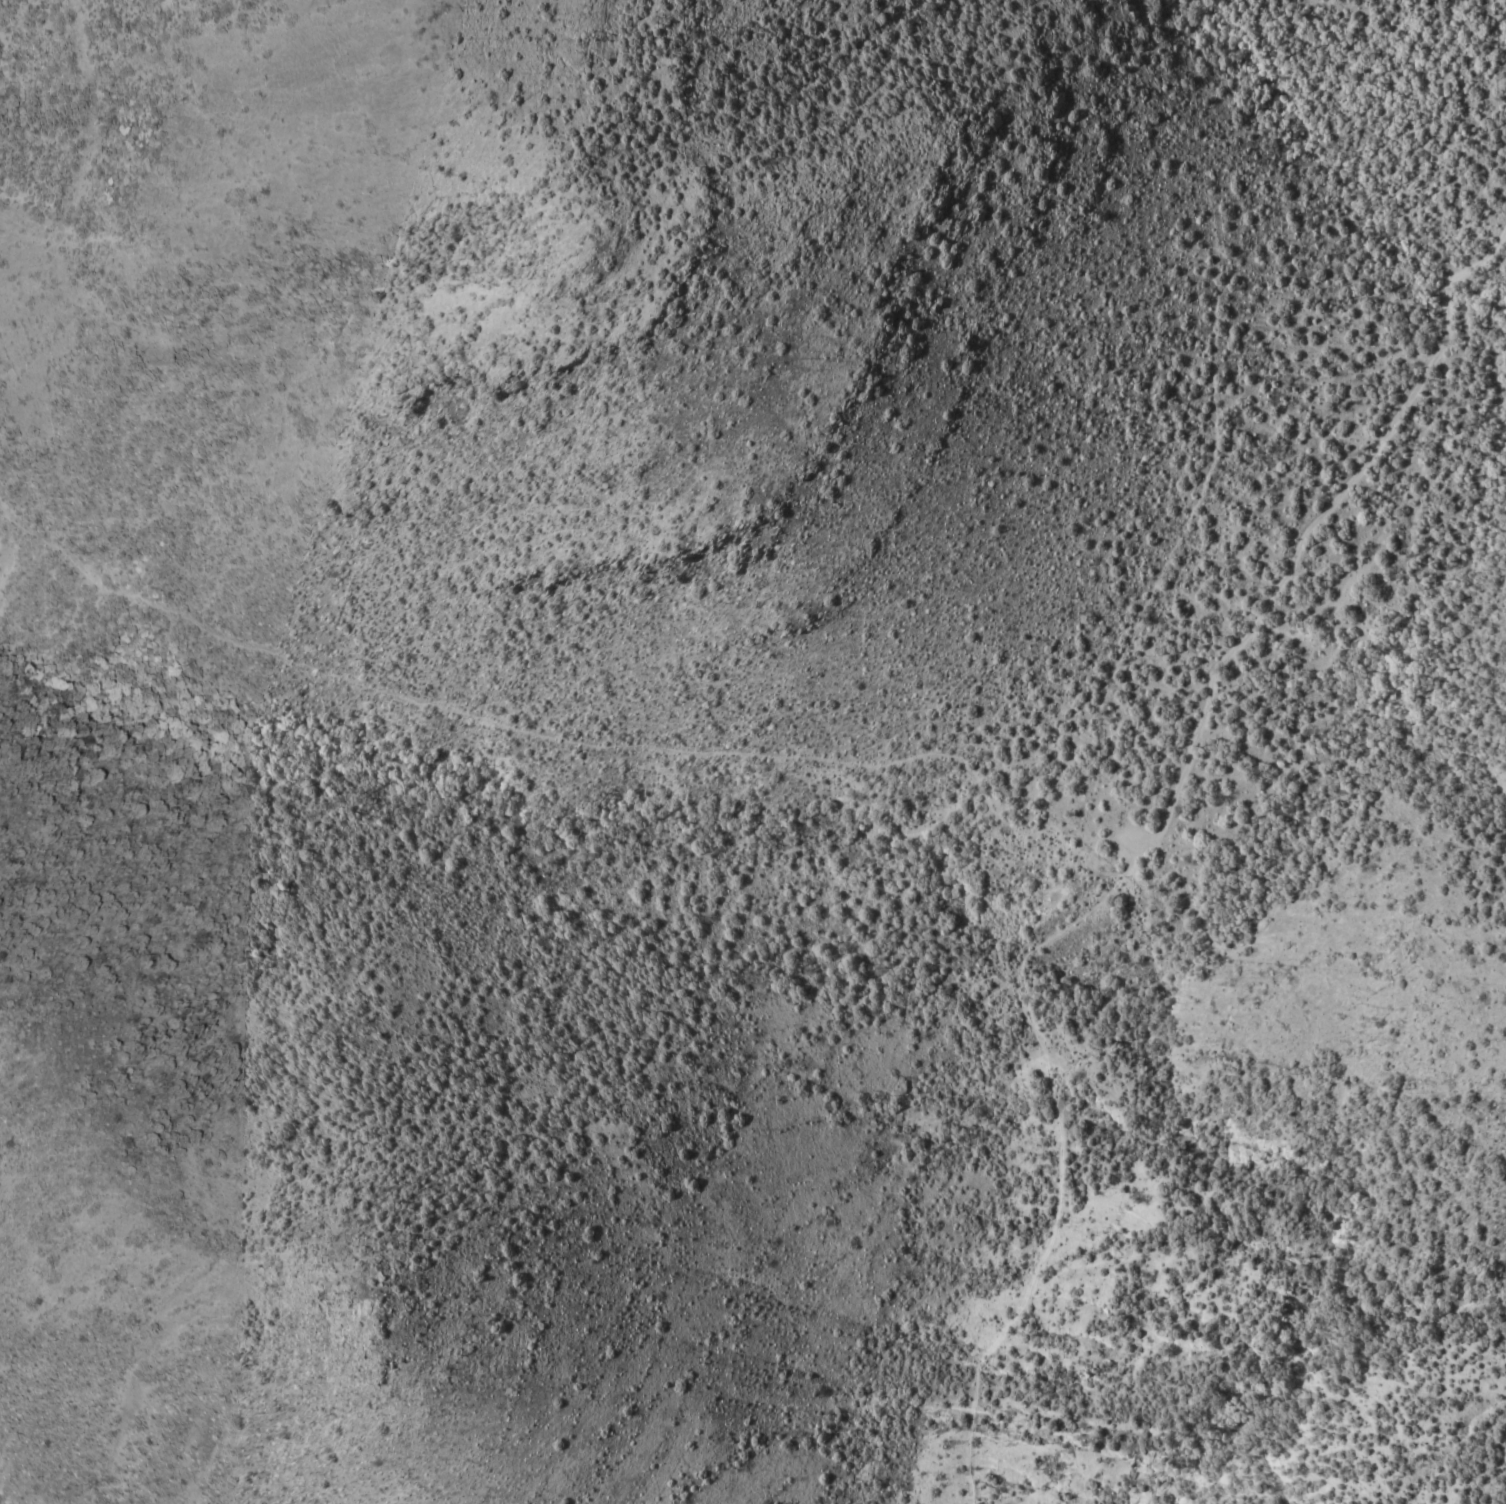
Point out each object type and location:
road: (1307, 521)
road: (561, 740)
road: (1054, 1158)

